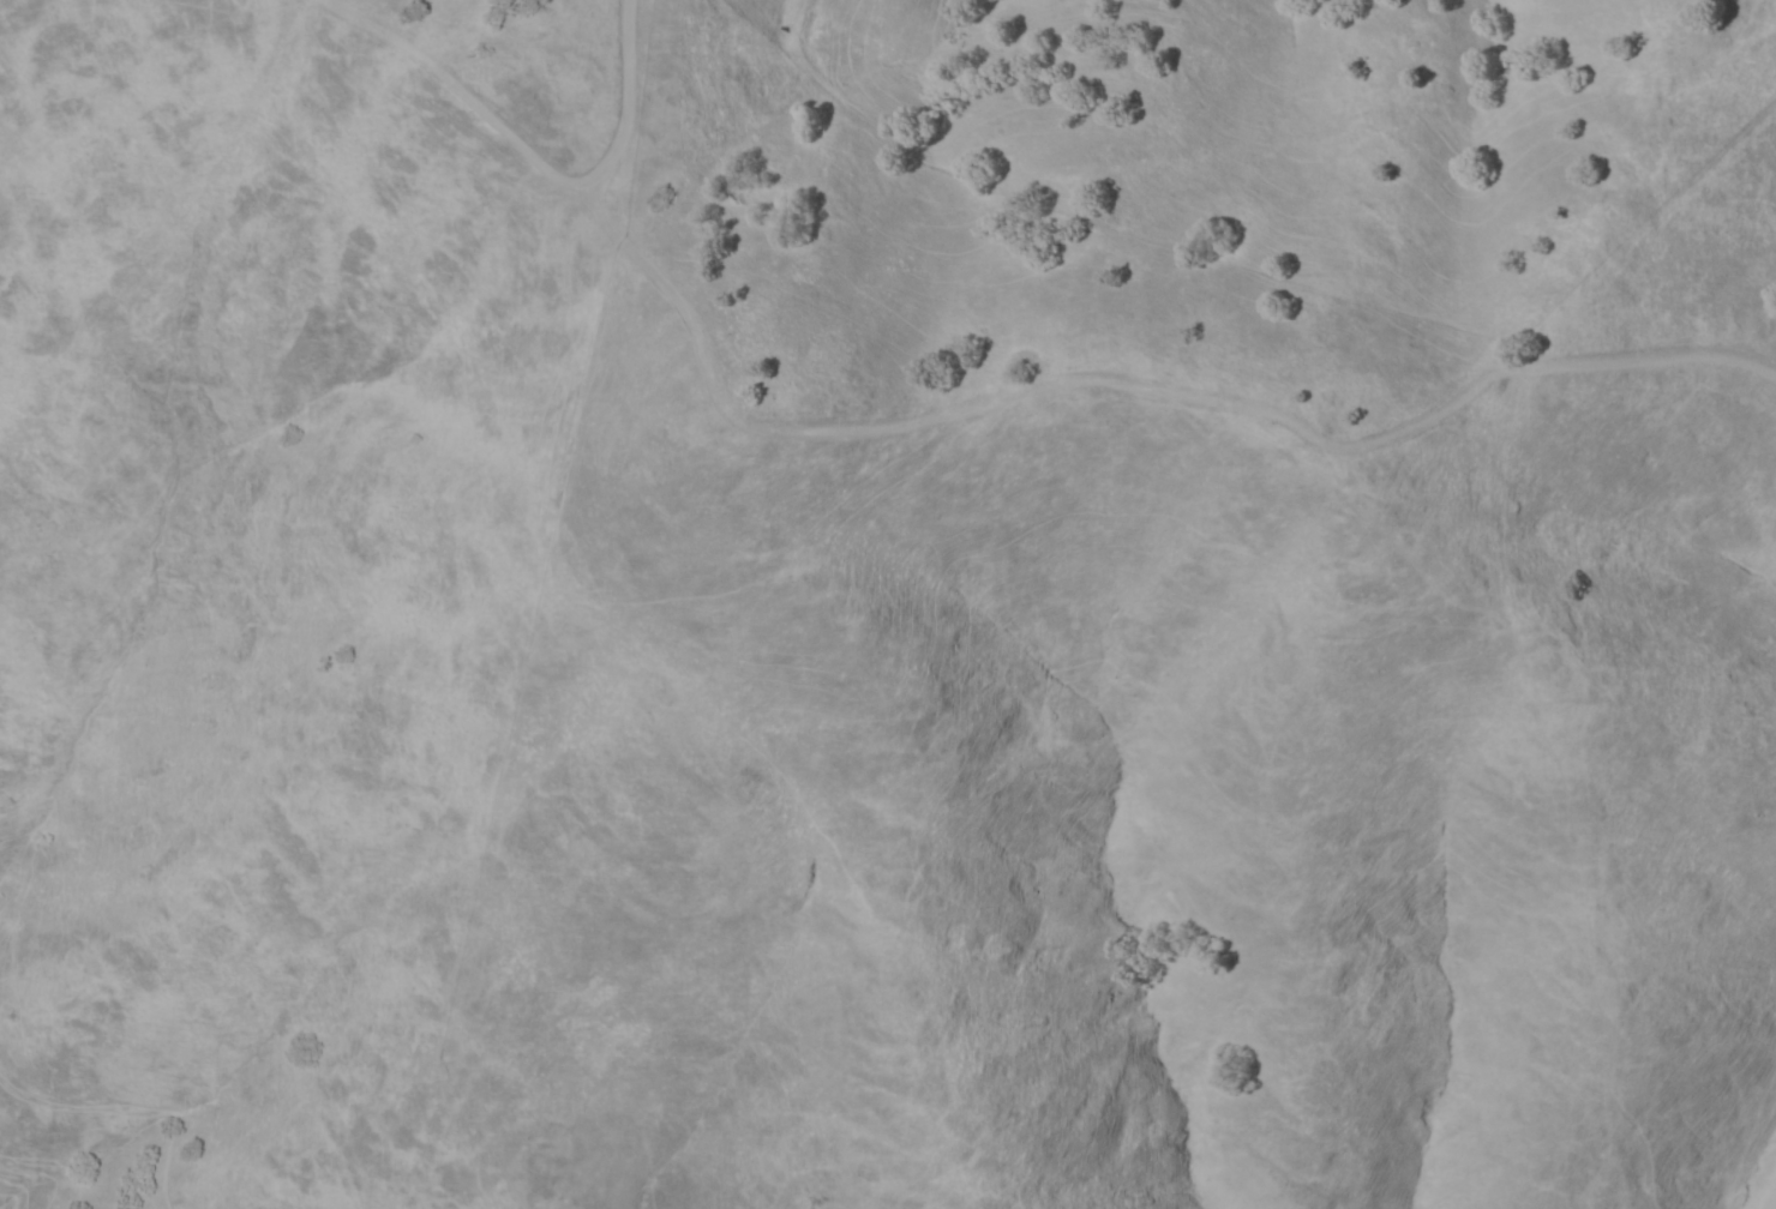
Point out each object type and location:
road: (532, 154)
road: (1126, 383)
road: (1770, 1196)

